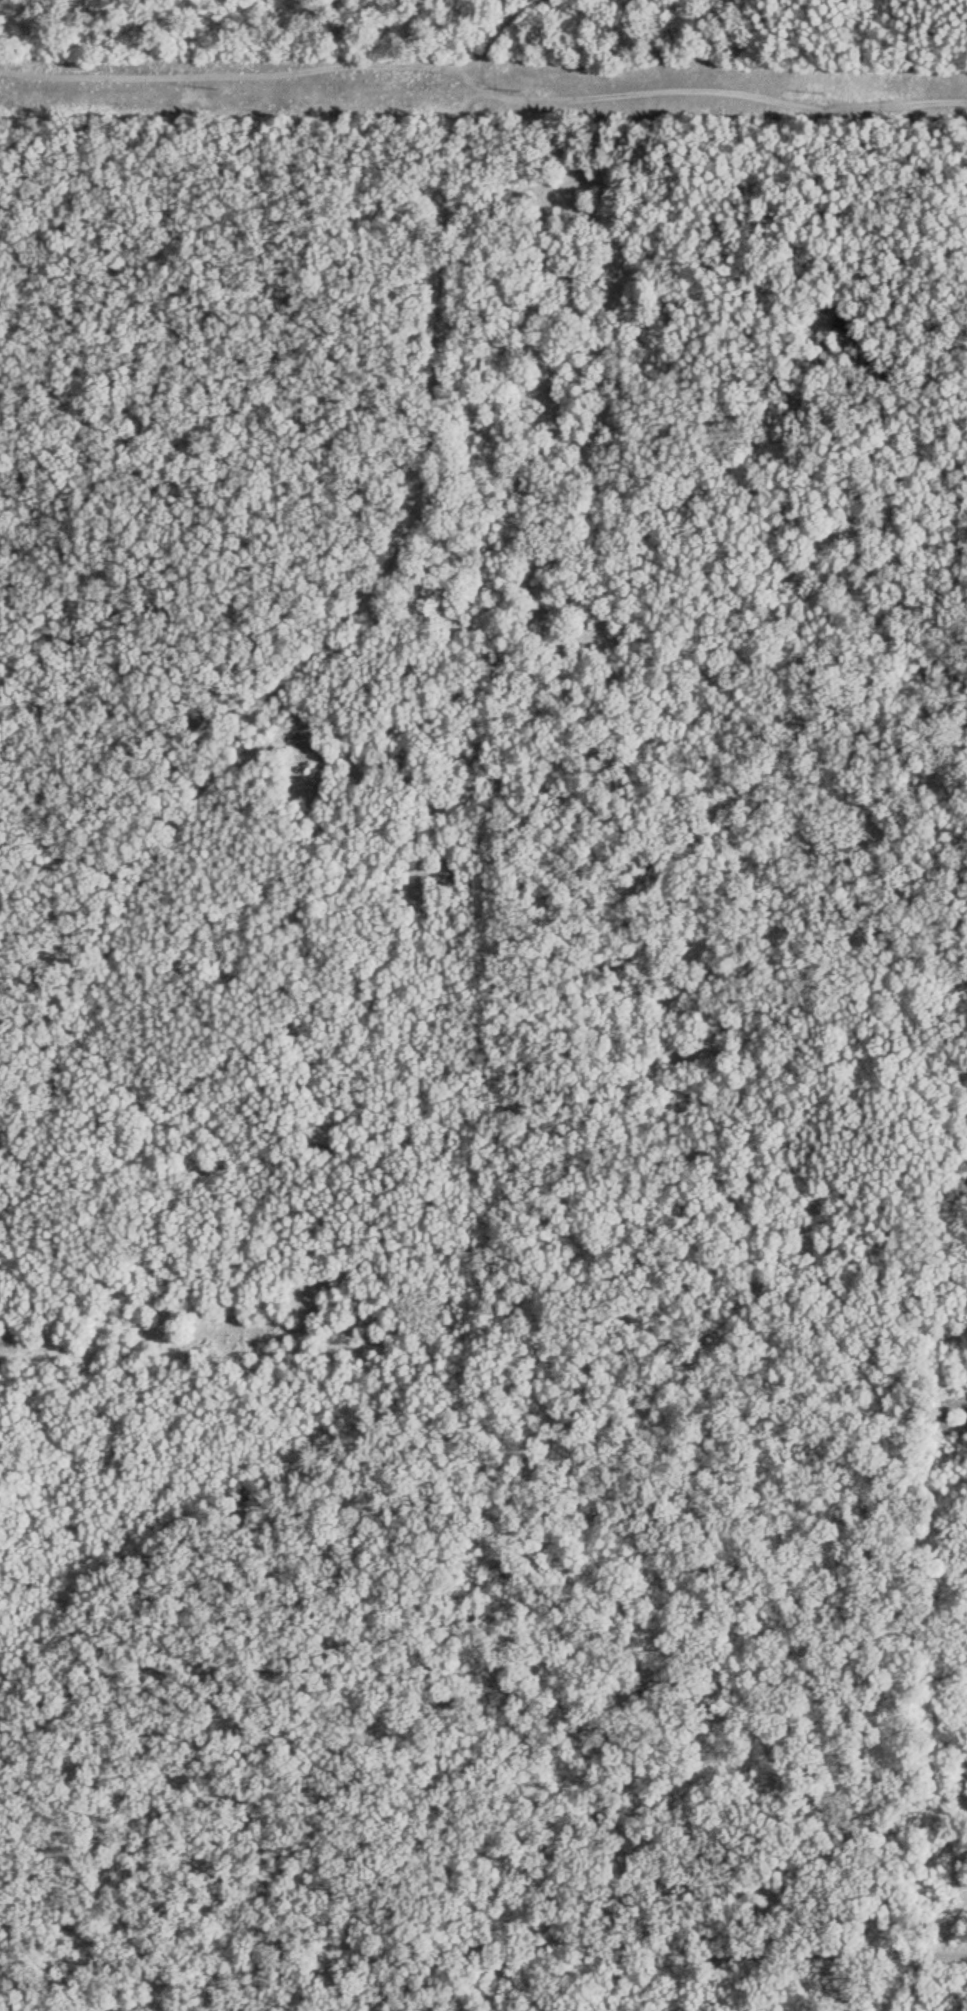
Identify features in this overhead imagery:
road: (748, 1949)

